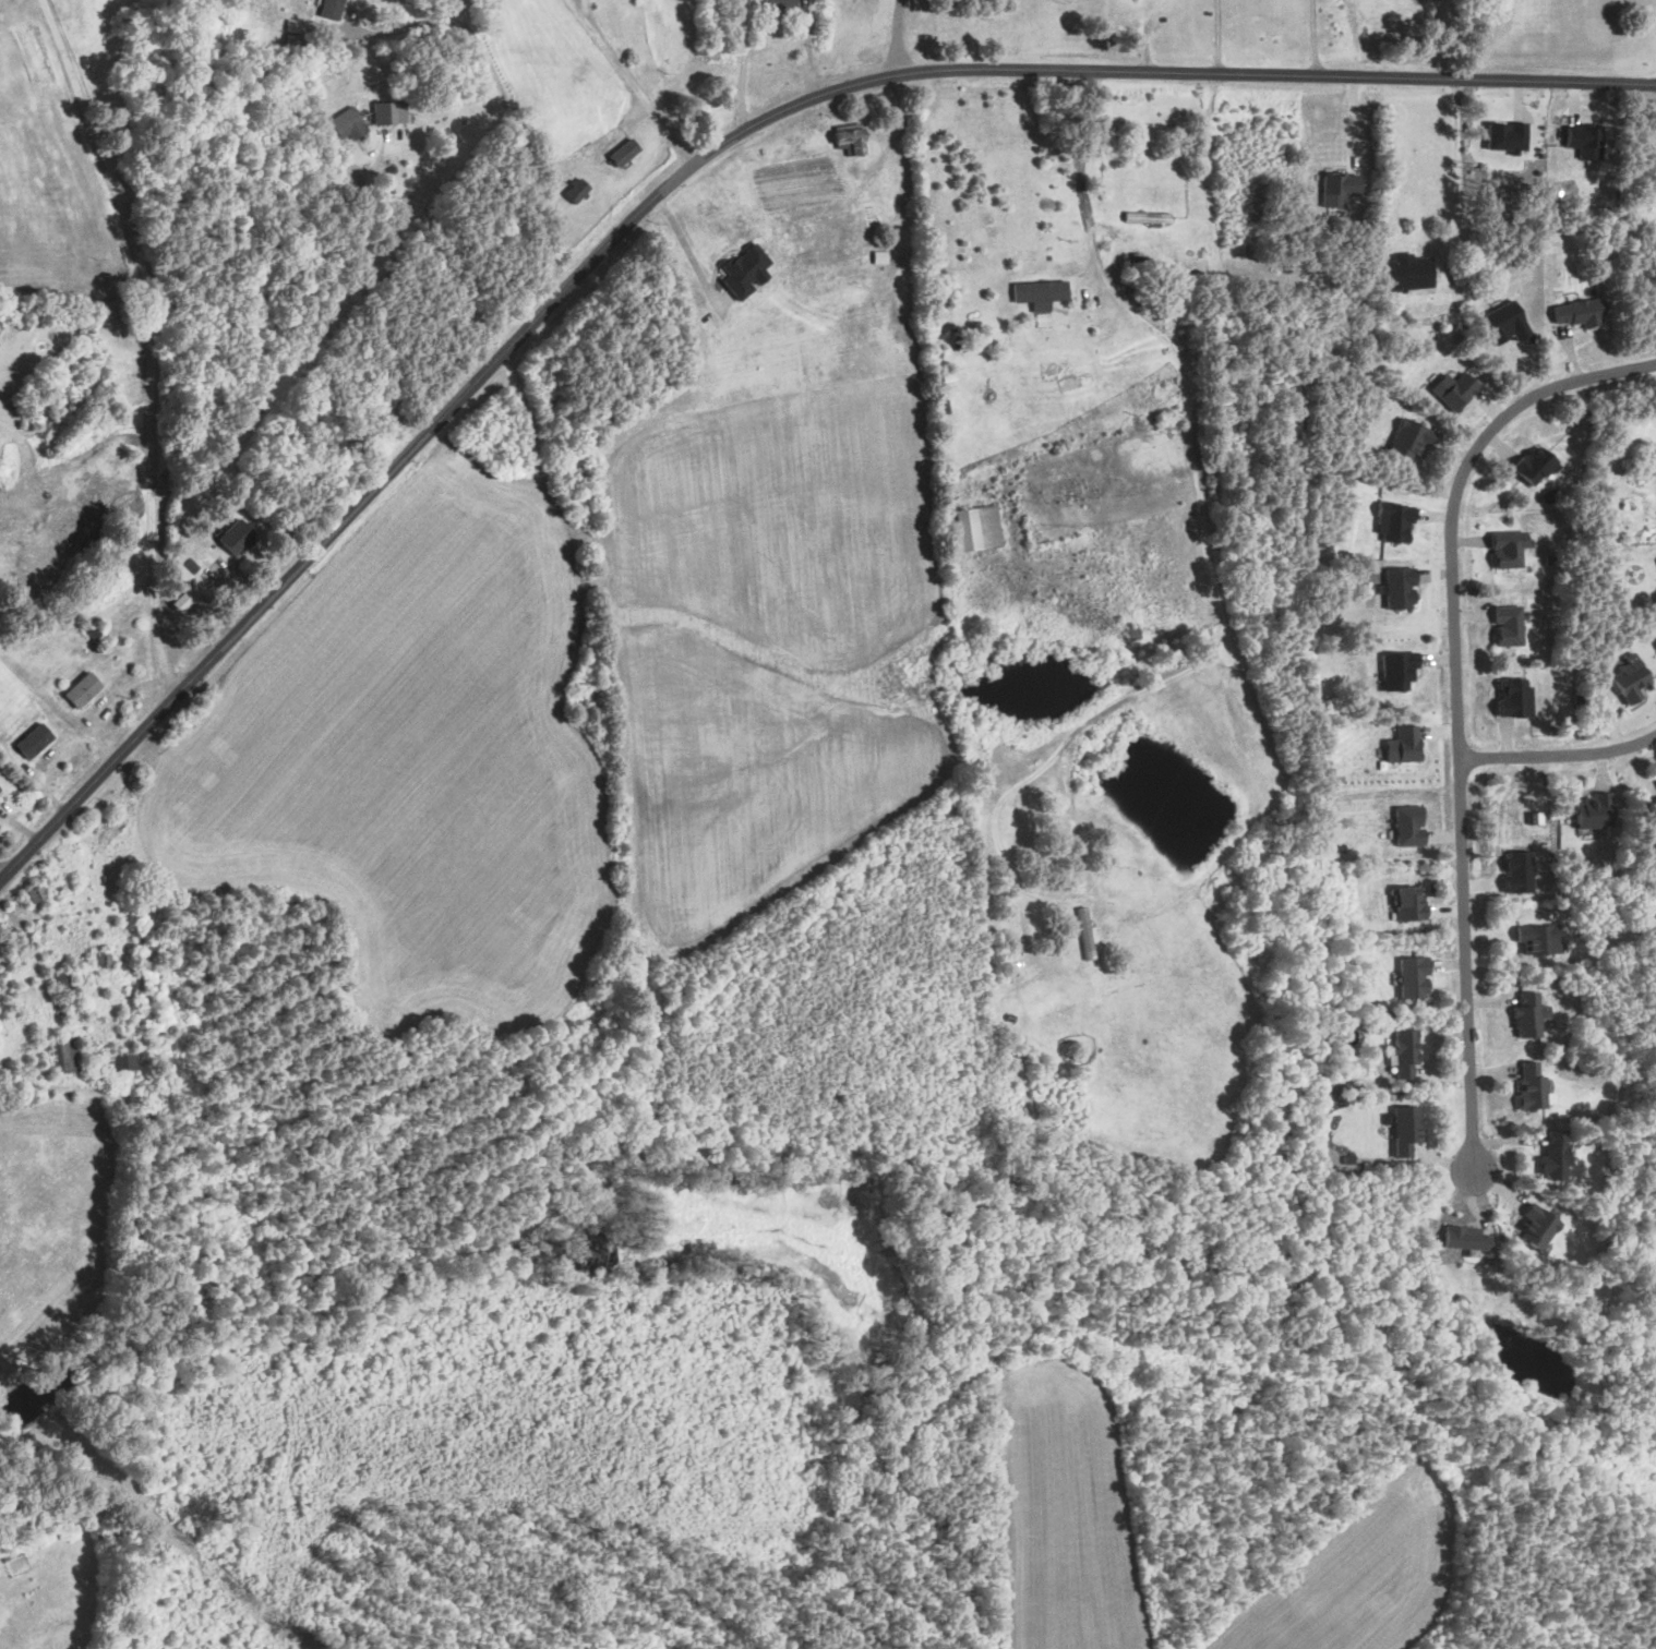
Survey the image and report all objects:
building: (777, 4)
building: (334, 9)
road: (898, 37)
road: (1214, 38)
road: (1311, 40)
road: (1468, 43)
road: (807, 49)
road: (732, 68)
road: (628, 83)
road: (507, 110)
building: (393, 113)
building: (348, 123)
building: (1500, 137)
building: (843, 139)
building: (1577, 141)
building: (619, 153)
road: (687, 169)
building: (1335, 189)
building: (573, 191)
road: (681, 242)
road: (1219, 268)
building: (740, 272)
building: (1403, 275)
building: (1035, 293)
building: (1569, 313)
building: (1499, 324)
road: (149, 344)
building: (1448, 390)
building: (1404, 441)
building: (1528, 467)
building: (1389, 525)
building: (972, 529)
building: (236, 537)
building: (1503, 550)
building: (1655, 562)
building: (1393, 589)
building: (1503, 627)
road: (1203, 663)
building: (1393, 671)
building: (1623, 681)
building: (85, 689)
building: (1509, 700)
road: (1455, 708)
building: (37, 739)
building: (1399, 746)
road: (1558, 757)
building: (1, 787)
building: (1653, 798)
building: (1588, 813)
building: (1404, 827)
building: (1512, 874)
road: (1, 879)
building: (1403, 906)
building: (1533, 938)
building: (1409, 976)
building: (1525, 1014)
building: (1400, 1051)
building: (67, 1055)
building: (124, 1061)
building: (1525, 1085)
building: (1400, 1129)
building: (1551, 1155)
building: (1529, 1228)
building: (1460, 1238)

